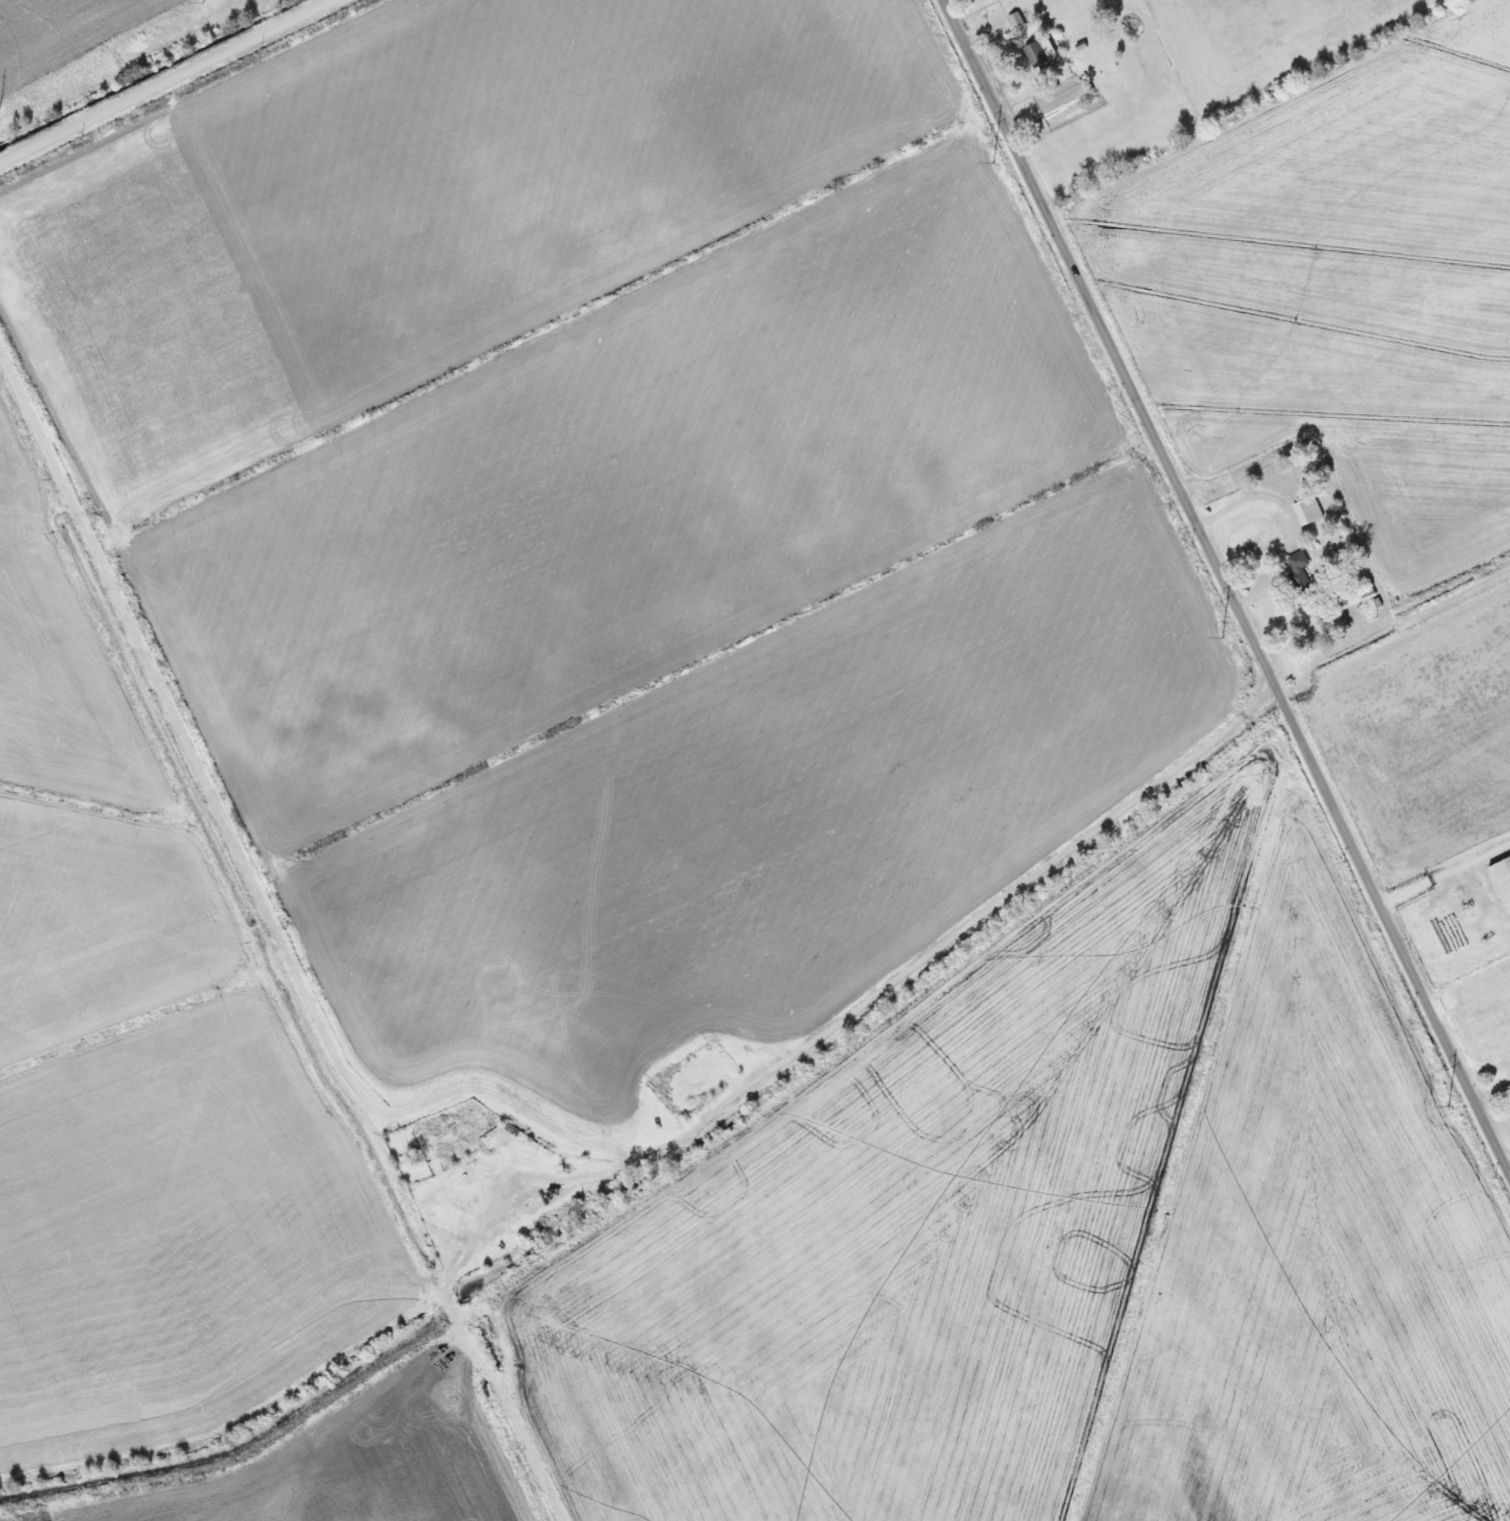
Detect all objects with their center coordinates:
building: (1011, 19)
road: (990, 27)
building: (1034, 52)
road: (165, 77)
road: (1036, 100)
power tower: (991, 162)
building: (1302, 510)
building: (1293, 572)
road: (1227, 585)
building: (1349, 598)
power tower: (1220, 637)
road: (1445, 874)
building: (1499, 880)
road: (967, 929)
road: (1493, 1095)
power tower: (1447, 1106)

